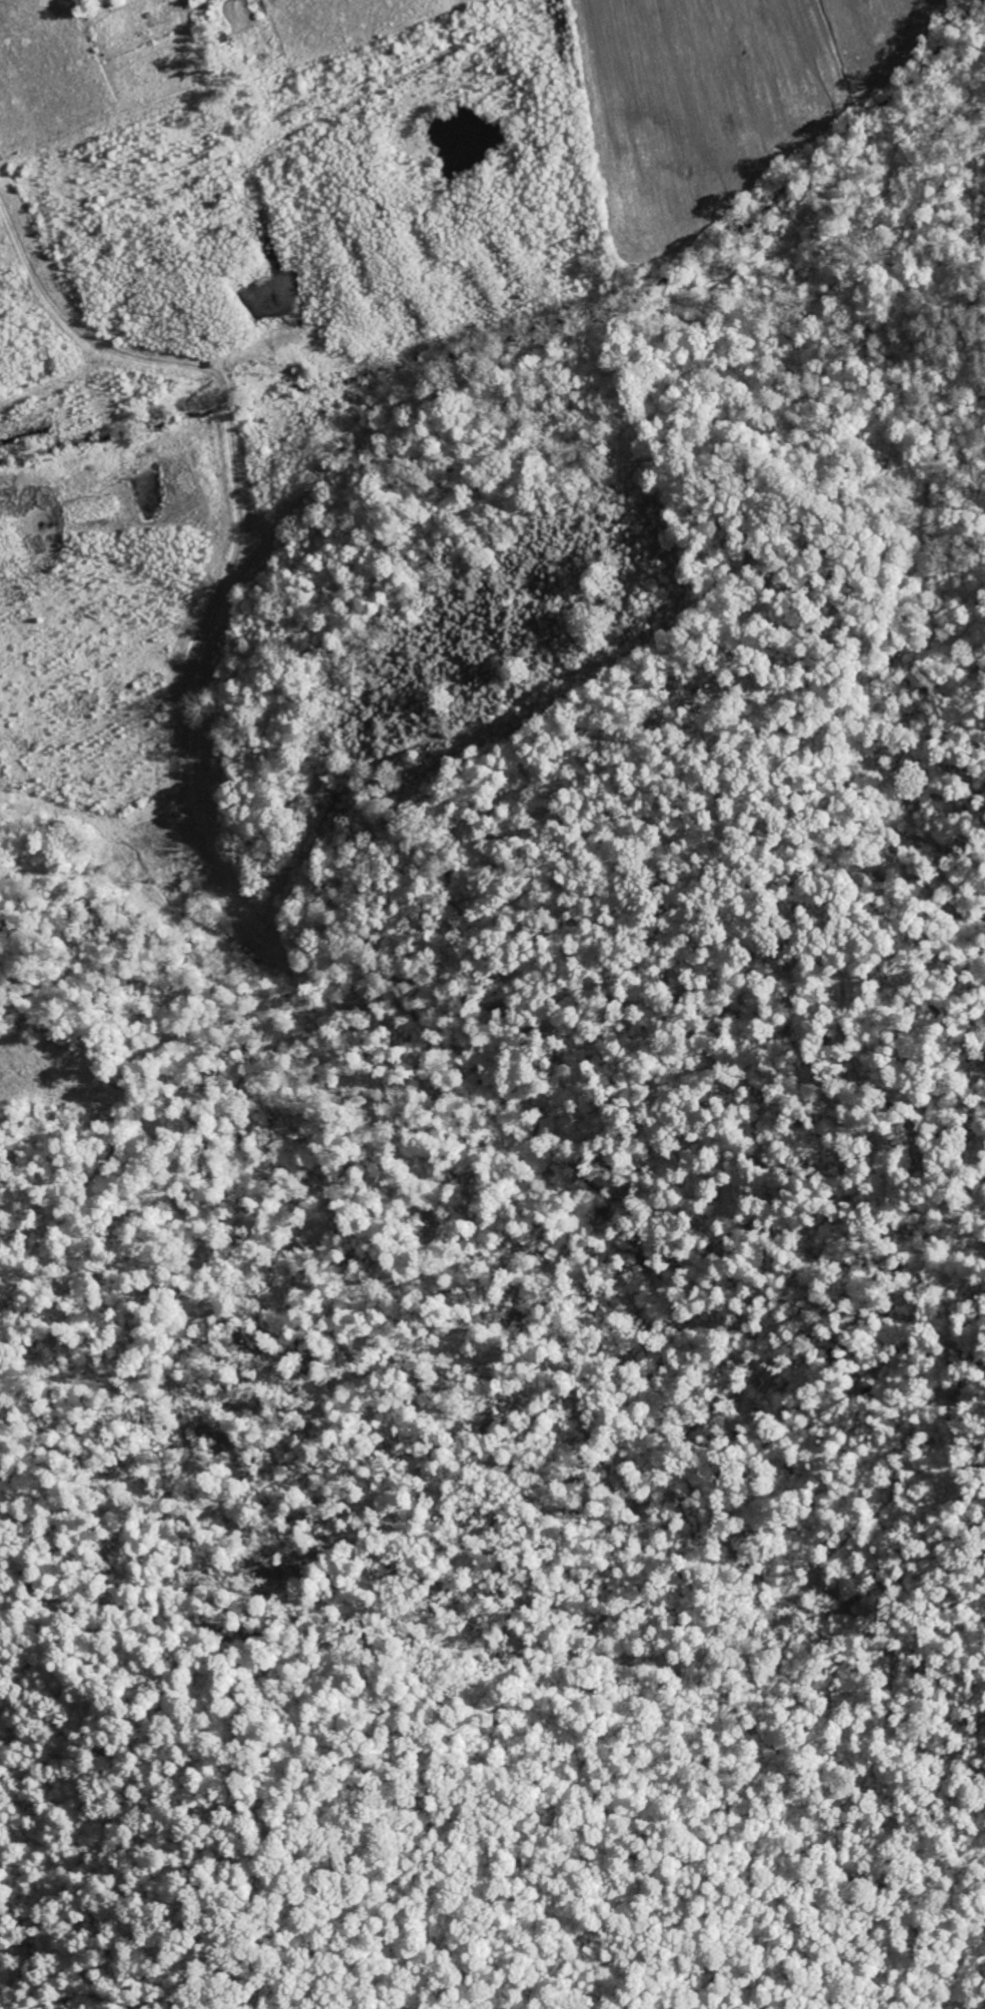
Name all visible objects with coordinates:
road: (229, 442)

